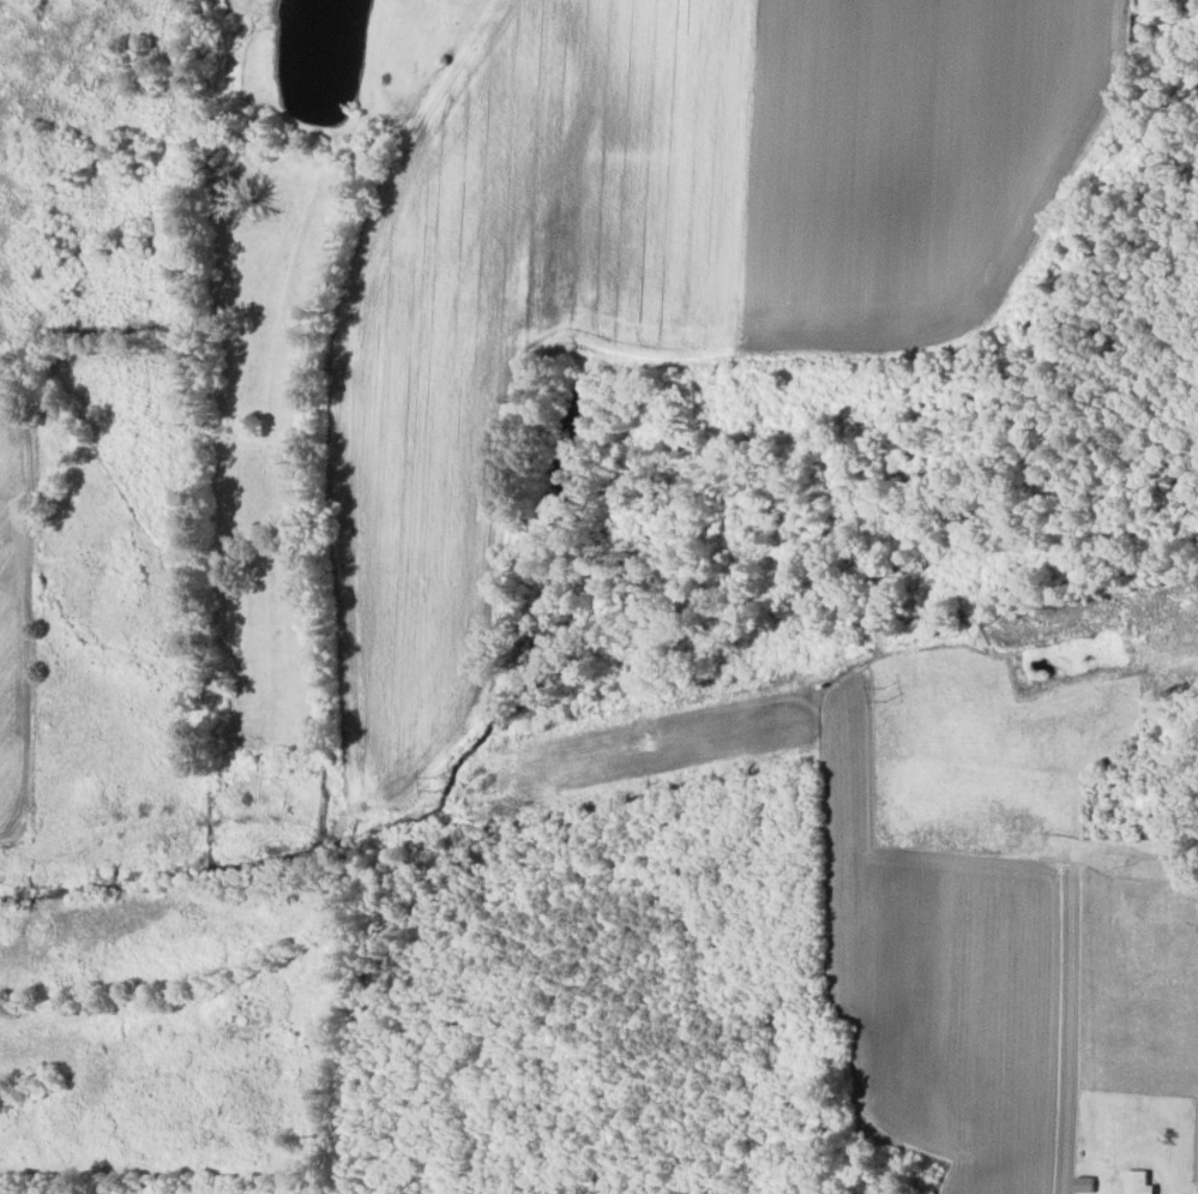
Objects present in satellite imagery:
road: (993, 314)
power tower: (884, 692)
power tower: (434, 784)
building: (1138, 1182)

